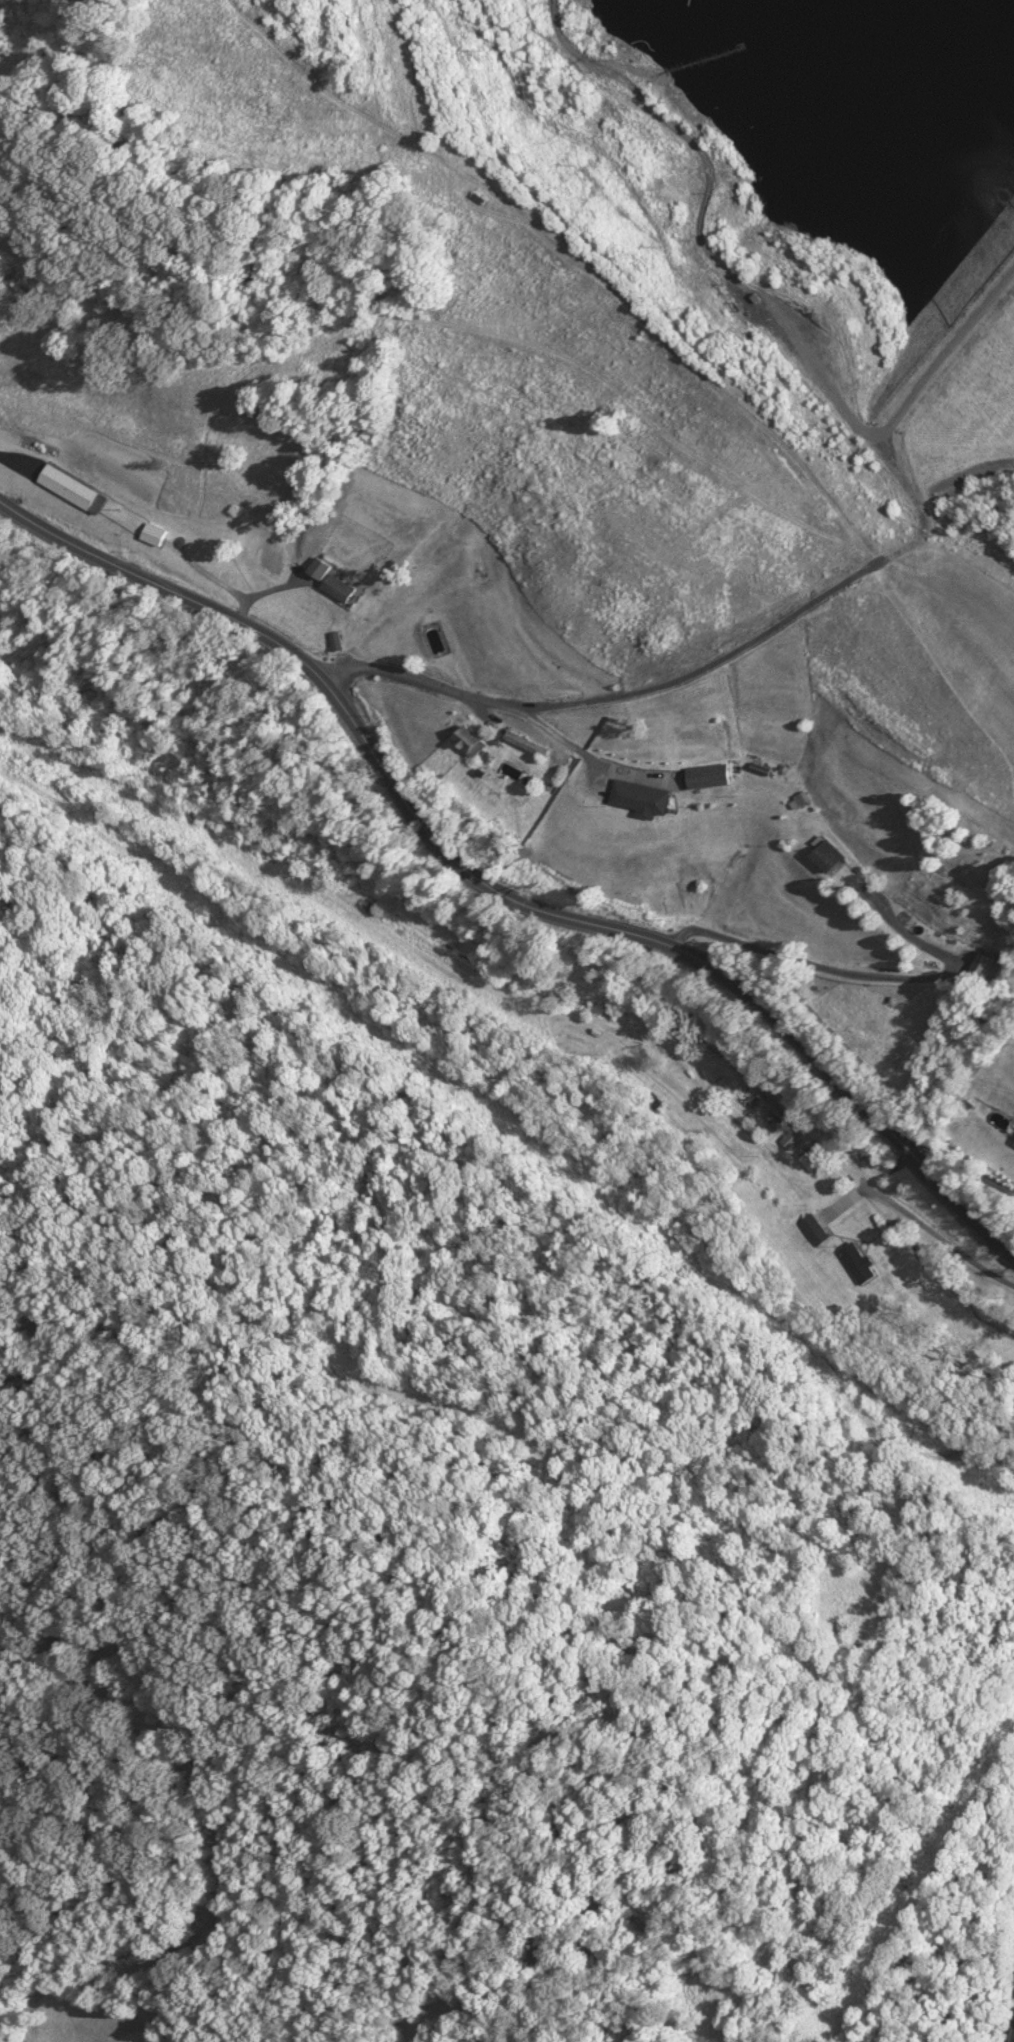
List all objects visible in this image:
road: (943, 375)
road: (15, 462)
building: (73, 487)
road: (914, 516)
building: (154, 532)
building: (335, 578)
road: (561, 738)
building: (710, 774)
building: (643, 797)
building: (830, 853)
road: (498, 883)
road: (850, 967)
building: (808, 1157)
road: (962, 1161)
road: (918, 1226)
building: (856, 1261)
building: (844, 1626)
road: (1013, 2036)

